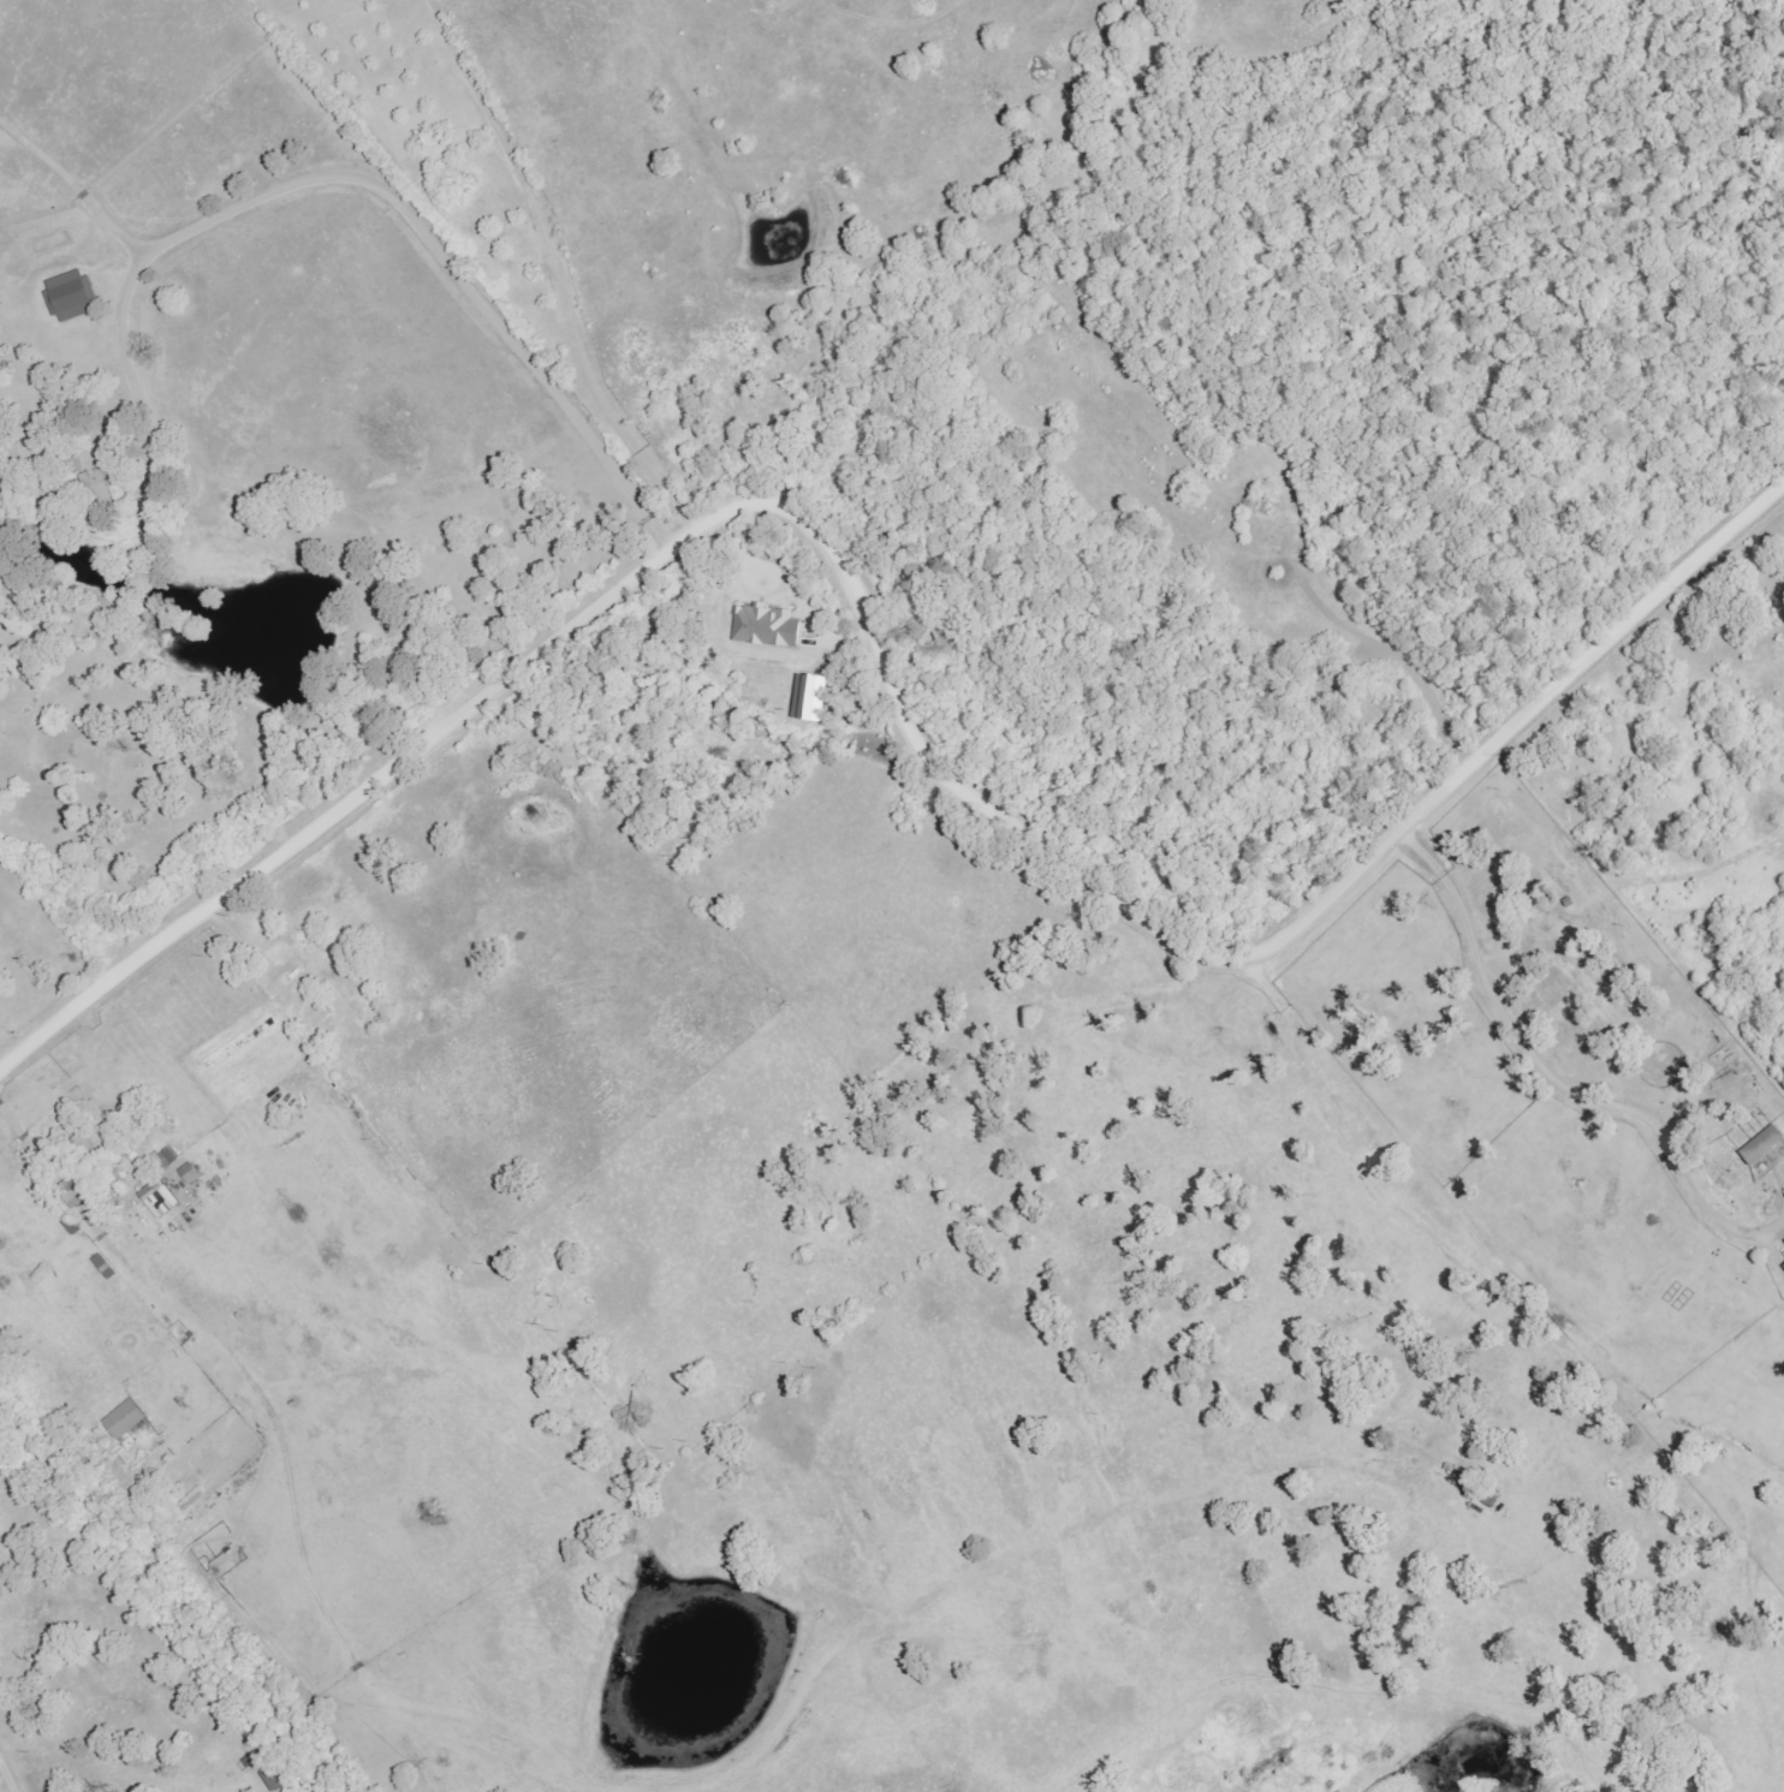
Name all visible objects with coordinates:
road: (421, 221)
road: (563, 268)
building: (70, 296)
building: (765, 626)
road: (890, 675)
building: (808, 697)
road: (1451, 883)
road: (1617, 1105)
building: (1760, 1145)
building: (168, 1155)
building: (84, 1172)
building: (188, 1174)
building: (157, 1198)
building: (1783, 1267)
building: (123, 1421)
road: (95, 1538)
road: (13, 1767)

